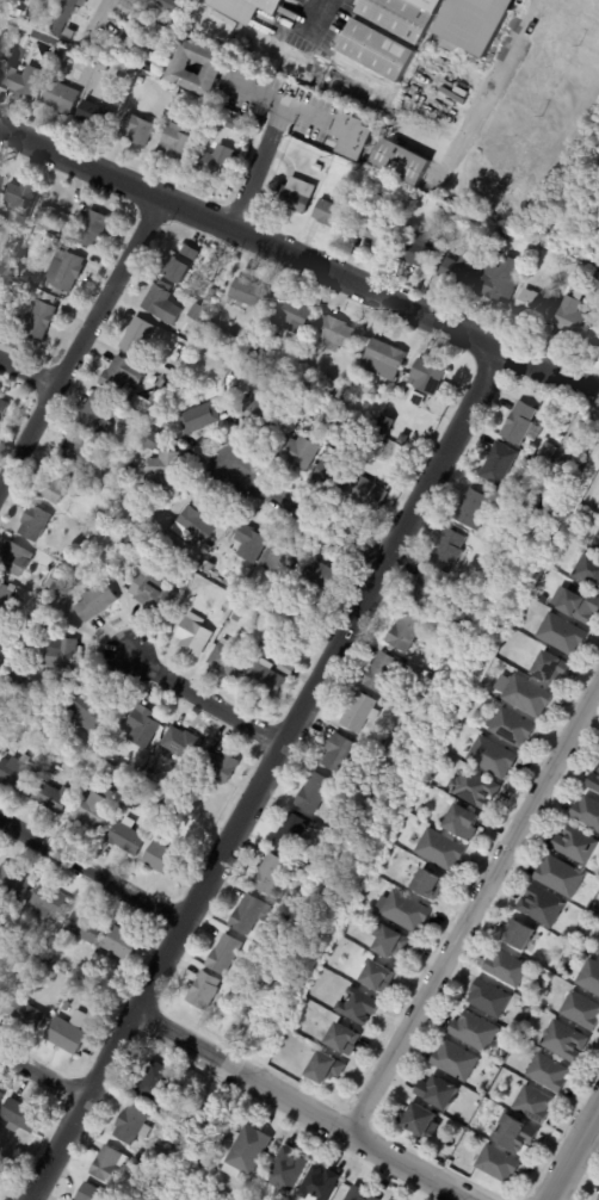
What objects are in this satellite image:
building: (185, 1)
building: (129, 2)
building: (7, 4)
building: (168, 5)
building: (247, 7)
building: (37, 8)
building: (66, 14)
road: (107, 17)
road: (311, 17)
building: (405, 17)
building: (49, 18)
building: (152, 23)
building: (475, 23)
building: (177, 24)
building: (70, 33)
building: (138, 50)
building: (378, 50)
building: (62, 54)
building: (0, 60)
building: (104, 67)
building: (184, 68)
building: (155, 69)
building: (23, 80)
road: (489, 80)
building: (141, 81)
building: (62, 97)
building: (206, 105)
road: (280, 107)
building: (94, 113)
building: (236, 119)
building: (140, 129)
building: (354, 135)
building: (178, 143)
building: (402, 162)
building: (220, 163)
building: (319, 167)
road: (257, 169)
building: (1, 179)
building: (294, 198)
building: (21, 204)
building: (335, 215)
building: (94, 229)
building: (379, 231)
building: (2, 236)
road: (247, 239)
building: (16, 250)
building: (418, 252)
building: (10, 264)
building: (183, 265)
building: (67, 271)
building: (461, 271)
building: (579, 273)
building: (500, 283)
building: (251, 293)
building: (212, 296)
building: (163, 304)
building: (536, 307)
building: (199, 313)
building: (296, 314)
building: (573, 316)
building: (41, 320)
building: (208, 327)
building: (189, 333)
building: (339, 334)
building: (138, 336)
building: (597, 340)
road: (80, 344)
building: (184, 347)
building: (177, 357)
building: (385, 360)
road: (545, 372)
building: (264, 373)
building: (124, 375)
building: (427, 377)
road: (26, 378)
building: (162, 383)
building: (331, 388)
building: (297, 395)
building: (342, 395)
building: (335, 402)
building: (144, 404)
building: (4, 409)
building: (259, 413)
building: (99, 416)
building: (202, 419)
building: (162, 421)
building: (520, 422)
building: (387, 423)
building: (297, 429)
building: (153, 440)
building: (78, 451)
building: (550, 452)
building: (302, 453)
building: (500, 464)
building: (130, 469)
building: (165, 472)
building: (334, 476)
building: (57, 488)
building: (95, 493)
building: (370, 493)
building: (475, 511)
building: (588, 517)
road: (305, 518)
building: (36, 524)
building: (194, 526)
building: (251, 543)
building: (129, 544)
building: (597, 544)
building: (270, 550)
building: (450, 550)
building: (17, 559)
building: (589, 570)
building: (55, 579)
building: (319, 579)
building: (153, 590)
building: (430, 592)
building: (44, 593)
building: (7, 594)
building: (181, 594)
building: (95, 601)
building: (227, 602)
building: (580, 604)
building: (236, 618)
building: (288, 619)
building: (42, 626)
building: (406, 633)
building: (194, 635)
building: (563, 635)
building: (267, 648)
building: (61, 655)
building: (229, 660)
building: (550, 668)
building: (288, 669)
building: (384, 674)
building: (424, 675)
building: (266, 679)
building: (17, 681)
building: (526, 695)
road: (199, 703)
building: (89, 710)
building: (359, 712)
building: (68, 715)
building: (35, 718)
building: (144, 726)
building: (513, 728)
building: (26, 729)
building: (69, 737)
building: (183, 743)
building: (387, 743)
building: (101, 751)
building: (340, 753)
building: (493, 759)
building: (220, 767)
building: (18, 774)
road: (259, 775)
building: (153, 780)
building: (368, 781)
building: (594, 783)
building: (477, 790)
building: (316, 794)
building: (55, 798)
building: (97, 811)
building: (422, 811)
building: (587, 812)
building: (179, 814)
building: (463, 822)
building: (292, 834)
building: (126, 839)
building: (579, 847)
building: (441, 850)
building: (165, 860)
road: (92, 876)
building: (272, 876)
building: (309, 876)
building: (560, 877)
building: (13, 884)
building: (430, 885)
building: (390, 891)
building: (50, 902)
building: (542, 907)
road: (471, 908)
building: (407, 913)
building: (248, 915)
building: (285, 916)
building: (86, 927)
building: (520, 935)
building: (389, 941)
building: (122, 942)
building: (39, 953)
building: (598, 953)
building: (224, 954)
building: (18, 958)
building: (48, 959)
building: (507, 969)
building: (591, 977)
building: (377, 978)
building: (0, 989)
building: (205, 992)
building: (1, 994)
building: (75, 994)
building: (489, 1000)
building: (359, 1007)
building: (67, 1008)
building: (582, 1012)
building: (26, 1013)
building: (475, 1032)
building: (69, 1033)
building: (228, 1035)
building: (344, 1040)
building: (564, 1041)
building: (455, 1062)
building: (327, 1069)
building: (548, 1074)
road: (42, 1075)
building: (155, 1081)
building: (439, 1094)
building: (2, 1097)
building: (533, 1106)
road: (294, 1107)
building: (21, 1117)
building: (422, 1122)
building: (134, 1124)
building: (514, 1134)
building: (249, 1152)
road: (573, 1152)
building: (111, 1164)
building: (499, 1164)
building: (289, 1169)
building: (321, 1184)
building: (94, 1194)
building: (363, 1194)
building: (598, 1199)

